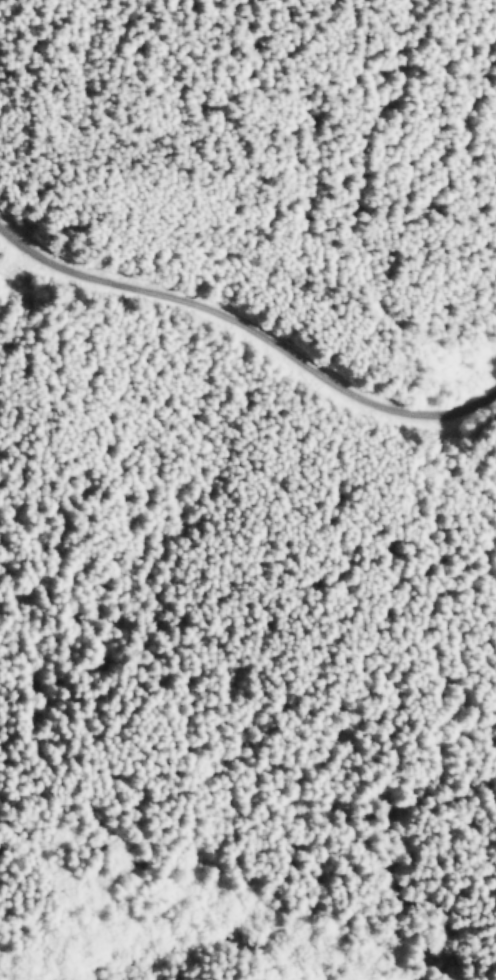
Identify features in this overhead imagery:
road: (252, 326)

